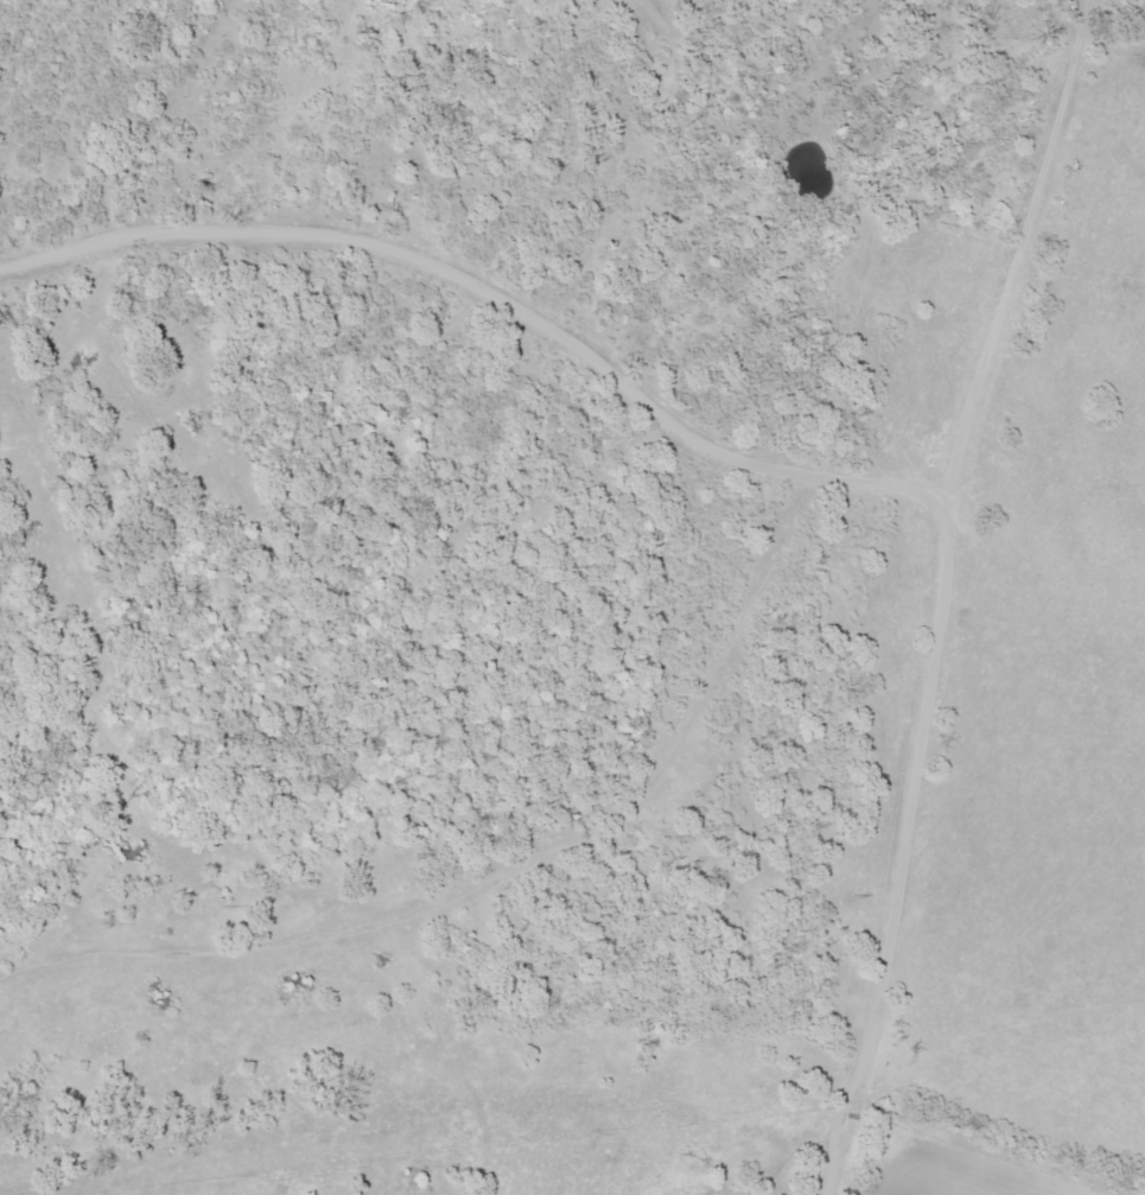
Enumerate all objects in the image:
road: (147, 114)
road: (420, 266)
road: (866, 508)
road: (939, 592)
road: (475, 856)

